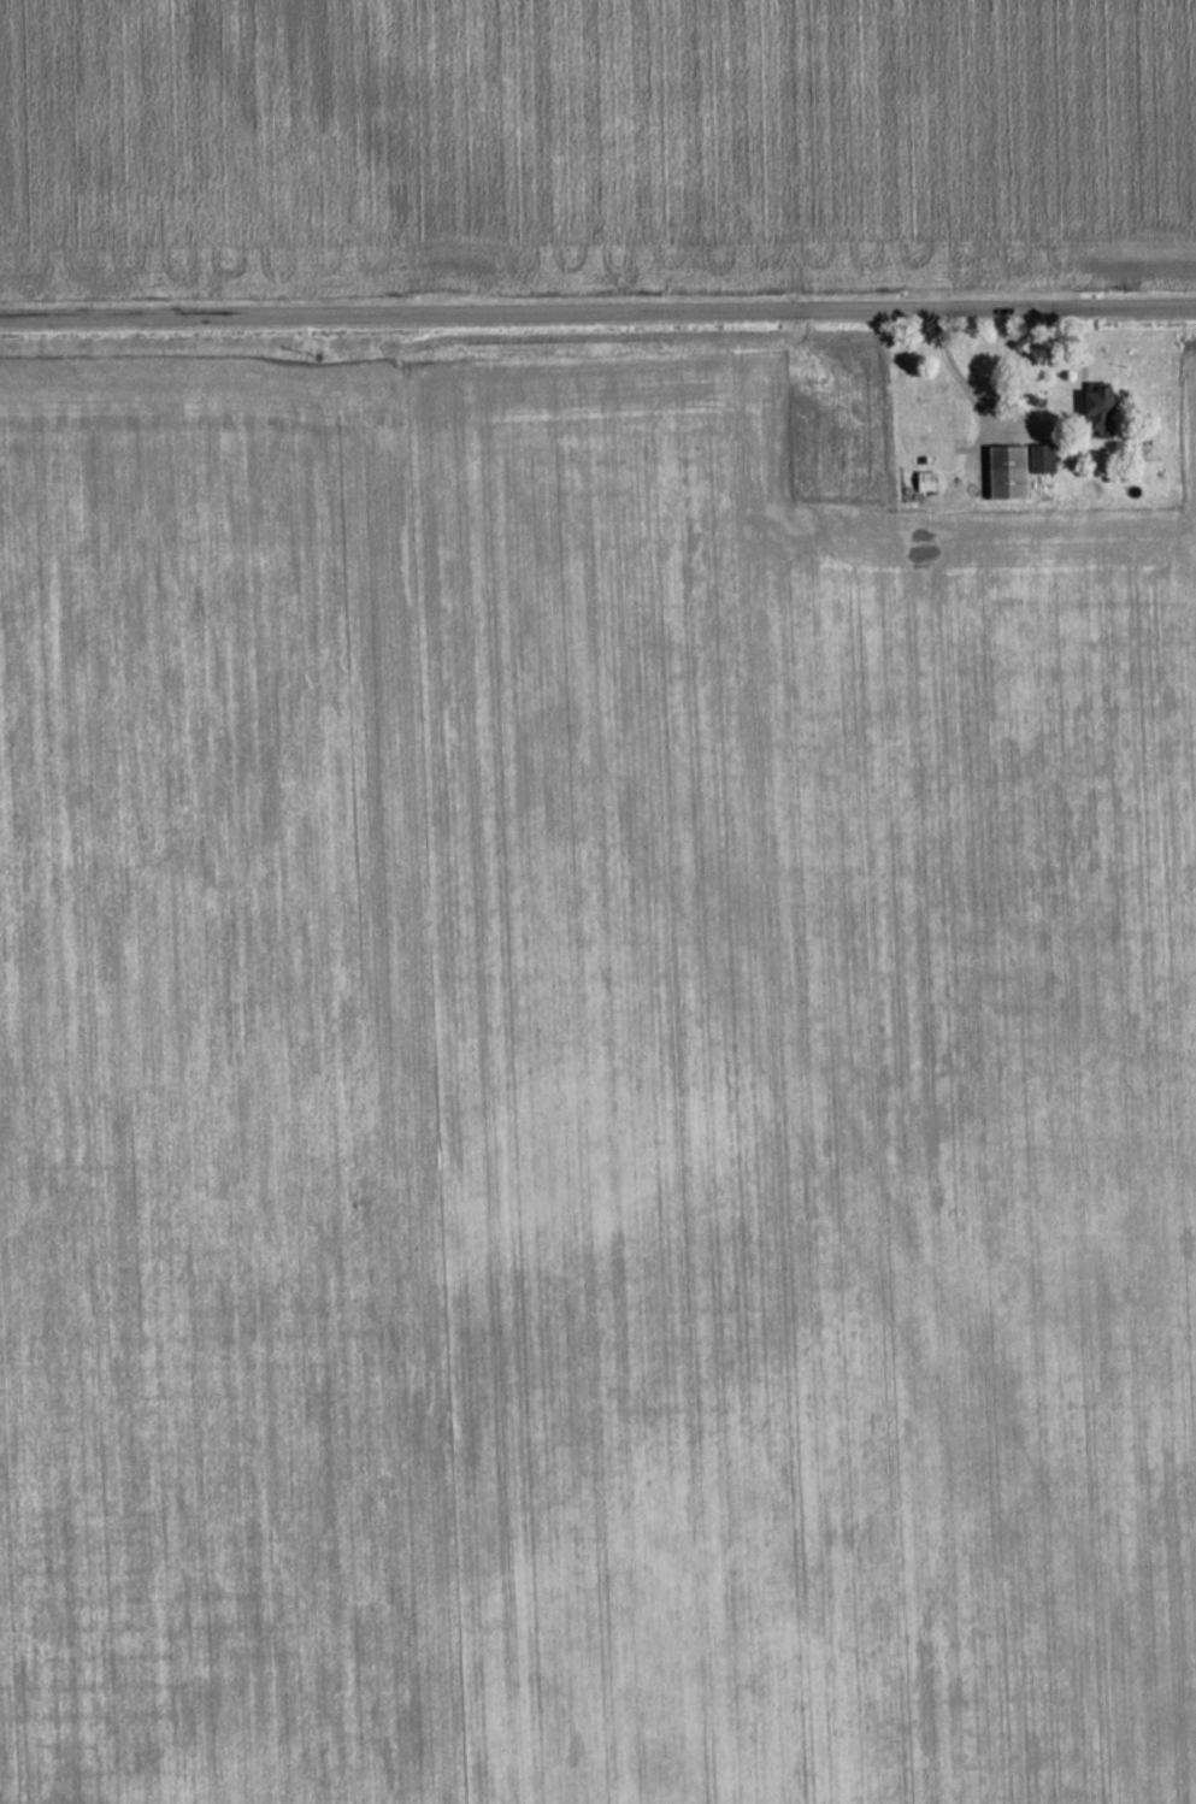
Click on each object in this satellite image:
crop: (593, 140)
road: (597, 306)
building: (1092, 409)
building: (1012, 468)
building: (920, 482)
crop: (584, 1104)

